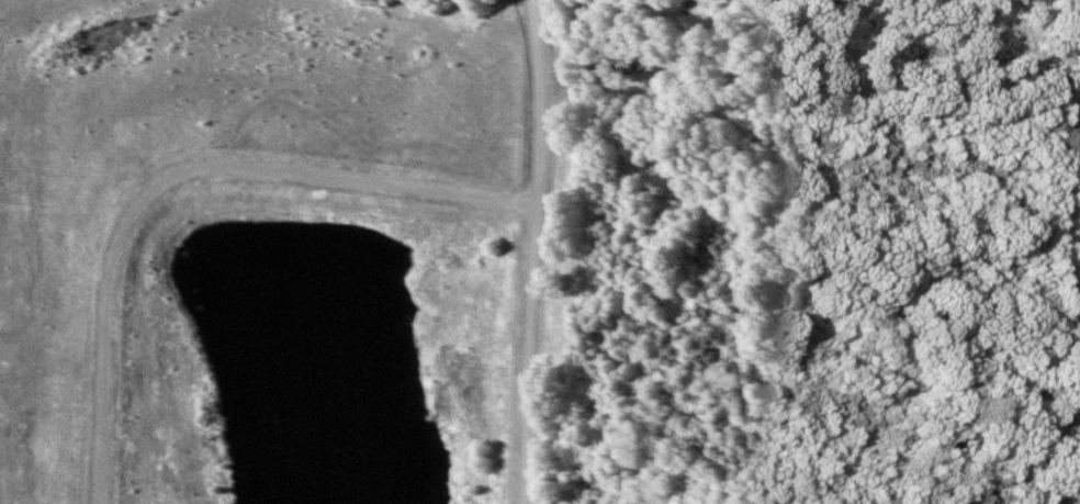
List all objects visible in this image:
road: (537, 251)

